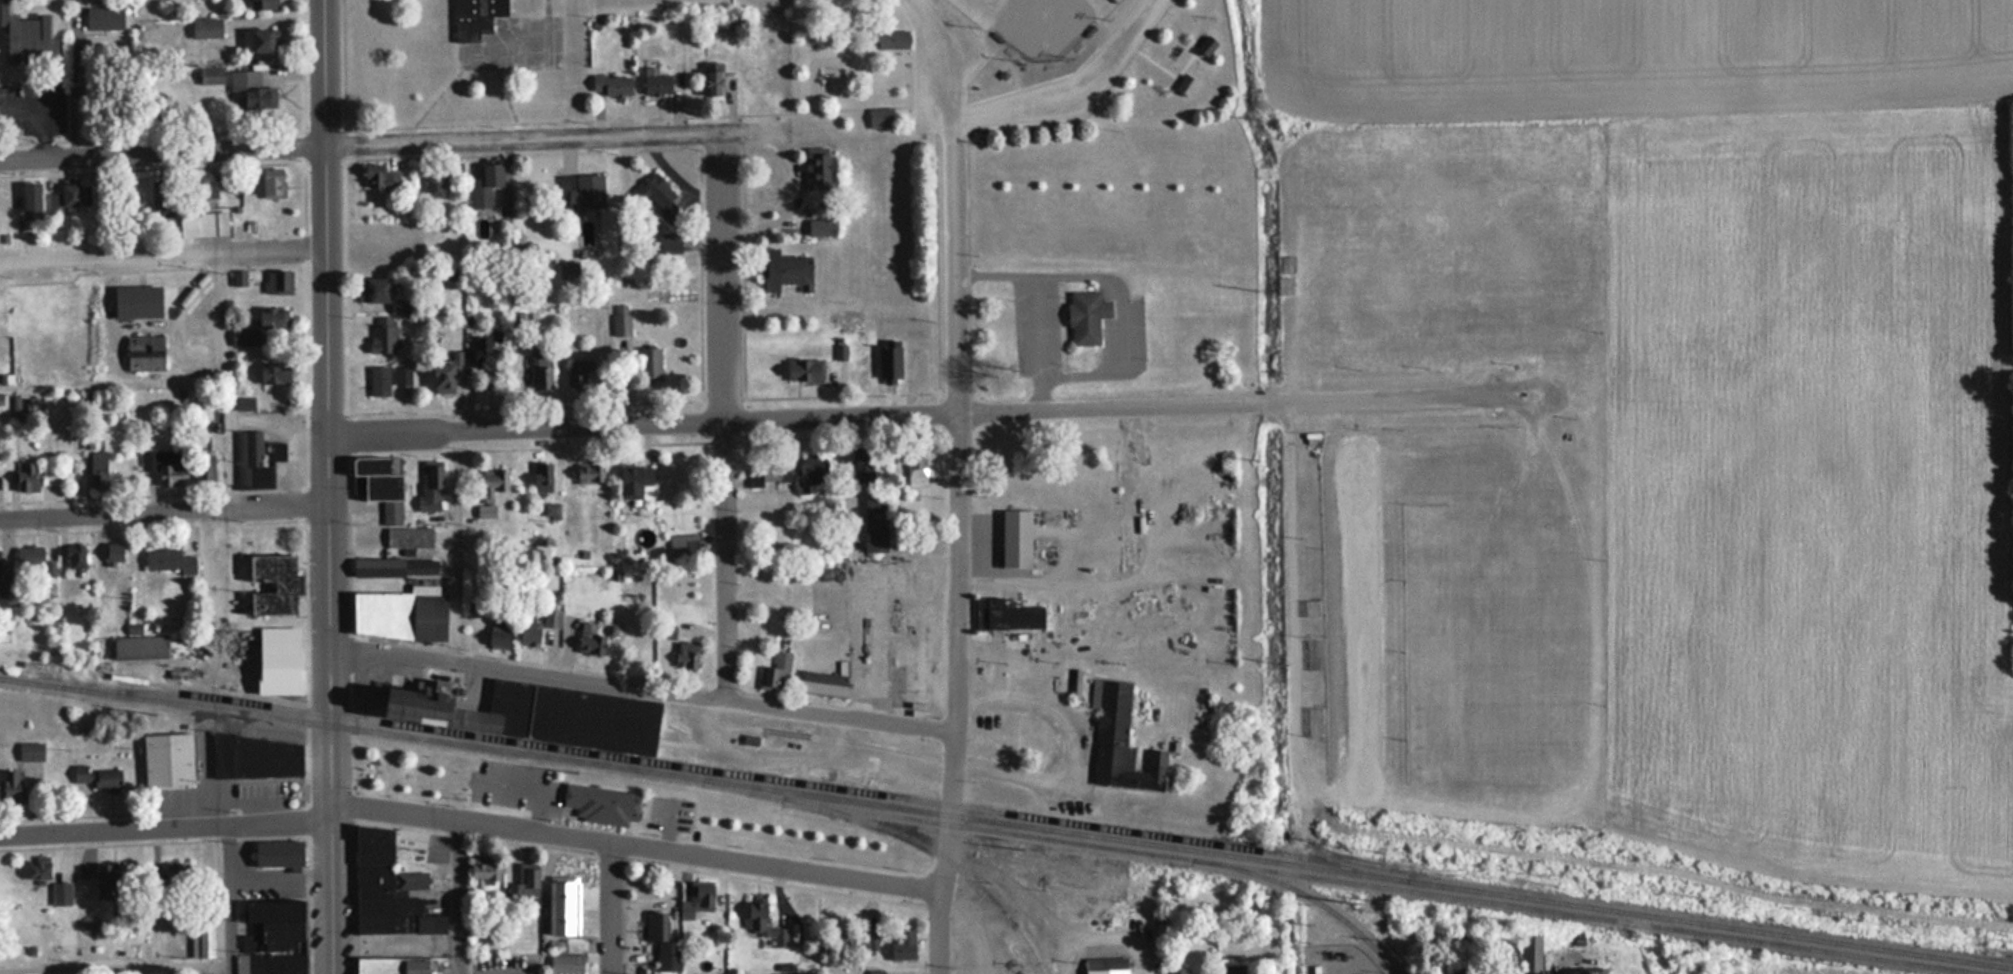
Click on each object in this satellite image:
building: (261, 5)
building: (113, 17)
building: (474, 18)
park: (1032, 22)
building: (206, 28)
building: (24, 36)
building: (896, 40)
building: (260, 41)
building: (1205, 47)
road: (939, 60)
park: (1003, 68)
building: (206, 76)
building: (712, 80)
building: (654, 83)
road: (81, 86)
building: (611, 86)
building: (1184, 86)
building: (248, 92)
road: (1079, 92)
road: (39, 114)
road: (931, 116)
road: (634, 118)
building: (879, 119)
road: (961, 131)
road: (524, 136)
road: (39, 141)
road: (163, 152)
road: (478, 156)
building: (815, 169)
building: (376, 179)
building: (272, 184)
building: (205, 186)
building: (484, 186)
building: (433, 187)
building: (1623, 190)
building: (581, 191)
building: (160, 195)
building: (64, 198)
building: (31, 199)
building: (659, 199)
building: (211, 223)
building: (385, 236)
building: (1580, 239)
road: (163, 254)
building: (1744, 268)
road: (154, 270)
road: (943, 270)
building: (784, 271)
road: (748, 279)
building: (1578, 280)
building: (277, 282)
building: (375, 290)
building: (136, 302)
building: (1085, 316)
building: (622, 323)
building: (260, 325)
building: (1702, 336)
road: (1121, 339)
building: (383, 340)
building: (1653, 345)
building: (487, 351)
building: (144, 353)
building: (648, 363)
building: (889, 364)
building: (540, 367)
building: (803, 368)
building: (273, 372)
building: (583, 374)
building: (440, 375)
building: (378, 379)
road: (225, 382)
road: (1044, 392)
road: (964, 396)
road: (654, 402)
road: (328, 405)
road: (922, 411)
road: (725, 414)
building: (1571, 441)
road: (655, 443)
building: (255, 458)
building: (861, 463)
building: (163, 465)
building: (915, 467)
building: (97, 469)
building: (589, 472)
building: (768, 473)
building: (810, 476)
building: (541, 477)
building: (29, 478)
building: (633, 479)
building: (380, 482)
building: (491, 483)
building: (430, 484)
road: (312, 486)
road: (346, 488)
road: (156, 495)
building: (485, 510)
road: (165, 514)
building: (874, 525)
road: (156, 528)
building: (408, 536)
building: (1014, 538)
road: (461, 545)
building: (113, 553)
building: (75, 555)
building: (30, 556)
building: (167, 560)
building: (393, 566)
building: (271, 583)
building: (7, 595)
building: (398, 613)
building: (1005, 614)
building: (551, 617)
parking lot: (888, 624)
building: (527, 633)
building: (498, 634)
building: (589, 639)
building: (138, 647)
road: (1018, 654)
building: (685, 655)
building: (277, 660)
road: (602, 672)
building: (774, 672)
building: (823, 683)
road: (644, 687)
road: (794, 700)
building: (534, 714)
road: (956, 730)
building: (1119, 740)
road: (1068, 748)
building: (30, 751)
building: (255, 757)
building: (166, 759)
building: (99, 776)
building: (497, 776)
railway: (750, 776)
building: (11, 785)
building: (615, 803)
park: (620, 805)
road: (157, 814)
railway: (1006, 824)
road: (166, 827)
road: (156, 843)
road: (634, 849)
building: (276, 853)
road: (643, 861)
railway: (955, 865)
building: (37, 867)
building: (483, 869)
building: (105, 880)
building: (526, 880)
railway: (1360, 883)
building: (388, 885)
building: (567, 885)
road: (938, 891)
road: (332, 892)
building: (61, 893)
road: (459, 897)
building: (193, 899)
road: (227, 899)
building: (695, 903)
railway: (1322, 904)
road: (611, 910)
building: (274, 922)
building: (761, 925)
building: (661, 943)
building: (871, 943)
building: (903, 946)
building: (1531, 954)
building: (268, 962)
building: (566, 964)
building: (396, 965)
building: (1105, 965)
building: (1232, 969)
road: (114, 970)
building: (1456, 971)
building: (1587, 971)
building: (875, 972)

